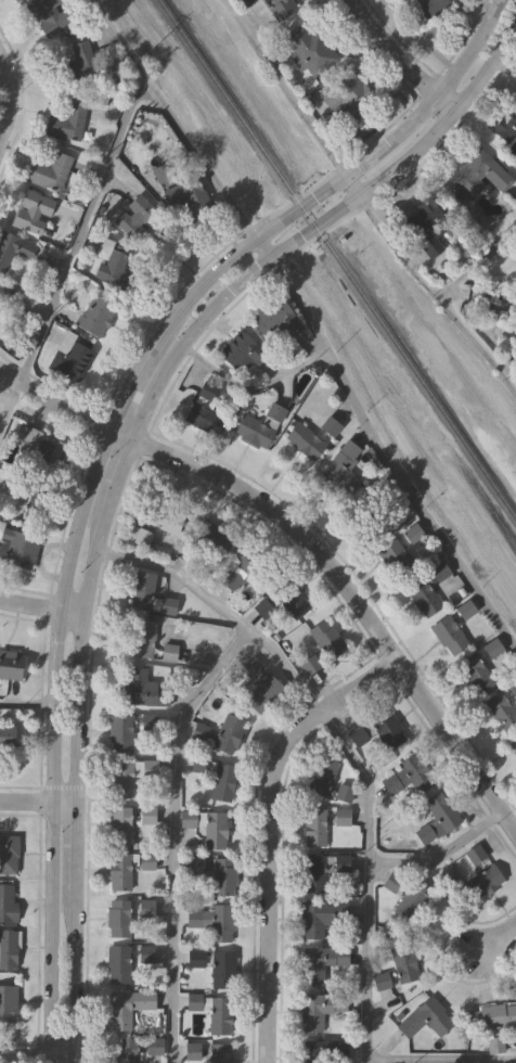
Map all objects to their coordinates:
building: (18, 0)
building: (283, 5)
building: (426, 8)
building: (48, 14)
building: (308, 48)
road: (386, 49)
building: (80, 61)
road: (9, 99)
building: (349, 101)
road: (441, 102)
building: (66, 121)
building: (505, 123)
building: (51, 170)
building: (477, 172)
building: (186, 192)
road: (363, 201)
building: (33, 210)
building: (136, 216)
building: (424, 226)
building: (13, 247)
road: (70, 253)
building: (111, 259)
railway: (334, 262)
road: (478, 265)
building: (8, 293)
building: (95, 313)
building: (274, 317)
road: (307, 320)
building: (241, 350)
building: (75, 360)
road: (250, 387)
building: (204, 409)
building: (330, 425)
building: (253, 431)
building: (304, 439)
building: (47, 450)
road: (95, 452)
road: (121, 458)
building: (341, 465)
building: (36, 504)
building: (374, 508)
building: (165, 517)
building: (412, 533)
building: (220, 542)
road: (310, 546)
building: (17, 548)
building: (392, 559)
building: (254, 565)
building: (231, 580)
building: (149, 593)
building: (423, 595)
building: (291, 598)
road: (40, 605)
building: (266, 610)
building: (465, 610)
building: (449, 633)
building: (143, 637)
building: (327, 638)
building: (491, 649)
building: (169, 651)
building: (310, 663)
building: (11, 664)
building: (475, 673)
building: (145, 688)
building: (513, 688)
building: (263, 693)
road: (22, 706)
building: (501, 709)
building: (128, 729)
building: (378, 730)
building: (229, 732)
building: (7, 734)
building: (513, 742)
building: (405, 773)
building: (122, 778)
building: (327, 779)
building: (223, 781)
road: (36, 801)
road: (369, 809)
building: (147, 814)
building: (341, 816)
building: (437, 818)
building: (188, 819)
building: (119, 824)
building: (315, 825)
building: (215, 829)
road: (265, 831)
road: (173, 835)
building: (472, 853)
building: (9, 854)
road: (438, 856)
building: (147, 860)
building: (196, 867)
building: (320, 870)
building: (119, 871)
building: (222, 875)
building: (392, 881)
building: (482, 882)
building: (7, 901)
building: (412, 901)
building: (146, 908)
building: (321, 915)
building: (118, 918)
building: (193, 919)
building: (221, 922)
road: (494, 937)
building: (8, 946)
building: (145, 952)
building: (195, 957)
building: (321, 961)
building: (403, 962)
building: (118, 963)
building: (223, 969)
building: (8, 1003)
building: (127, 1007)
building: (319, 1008)
building: (220, 1015)
building: (498, 1015)
building: (425, 1017)
building: (126, 1050)
building: (323, 1050)
building: (219, 1052)
road: (35, 1054)

